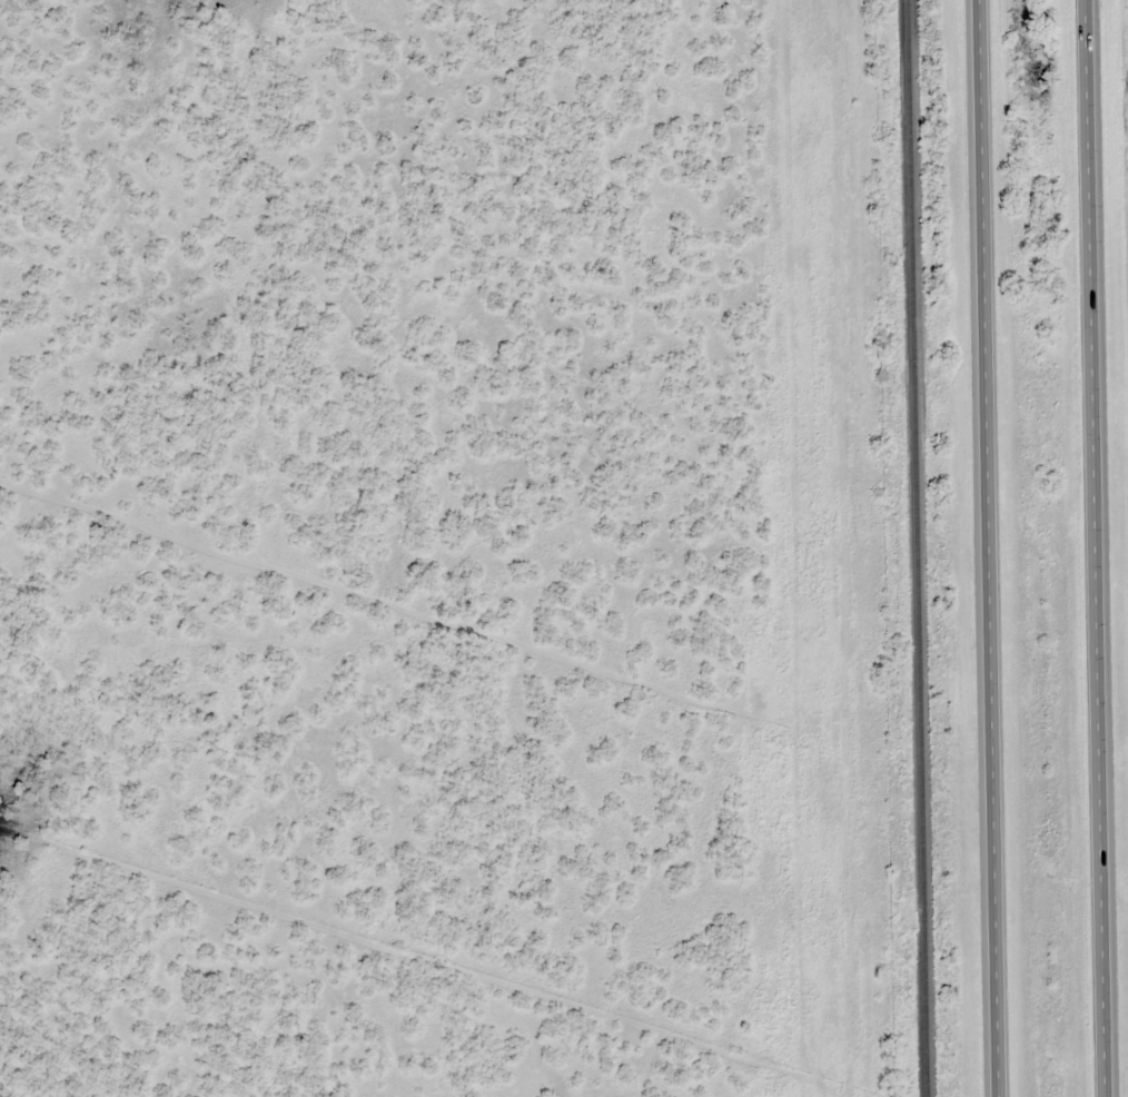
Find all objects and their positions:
railway: (921, 547)
road: (990, 547)
road: (1098, 547)

